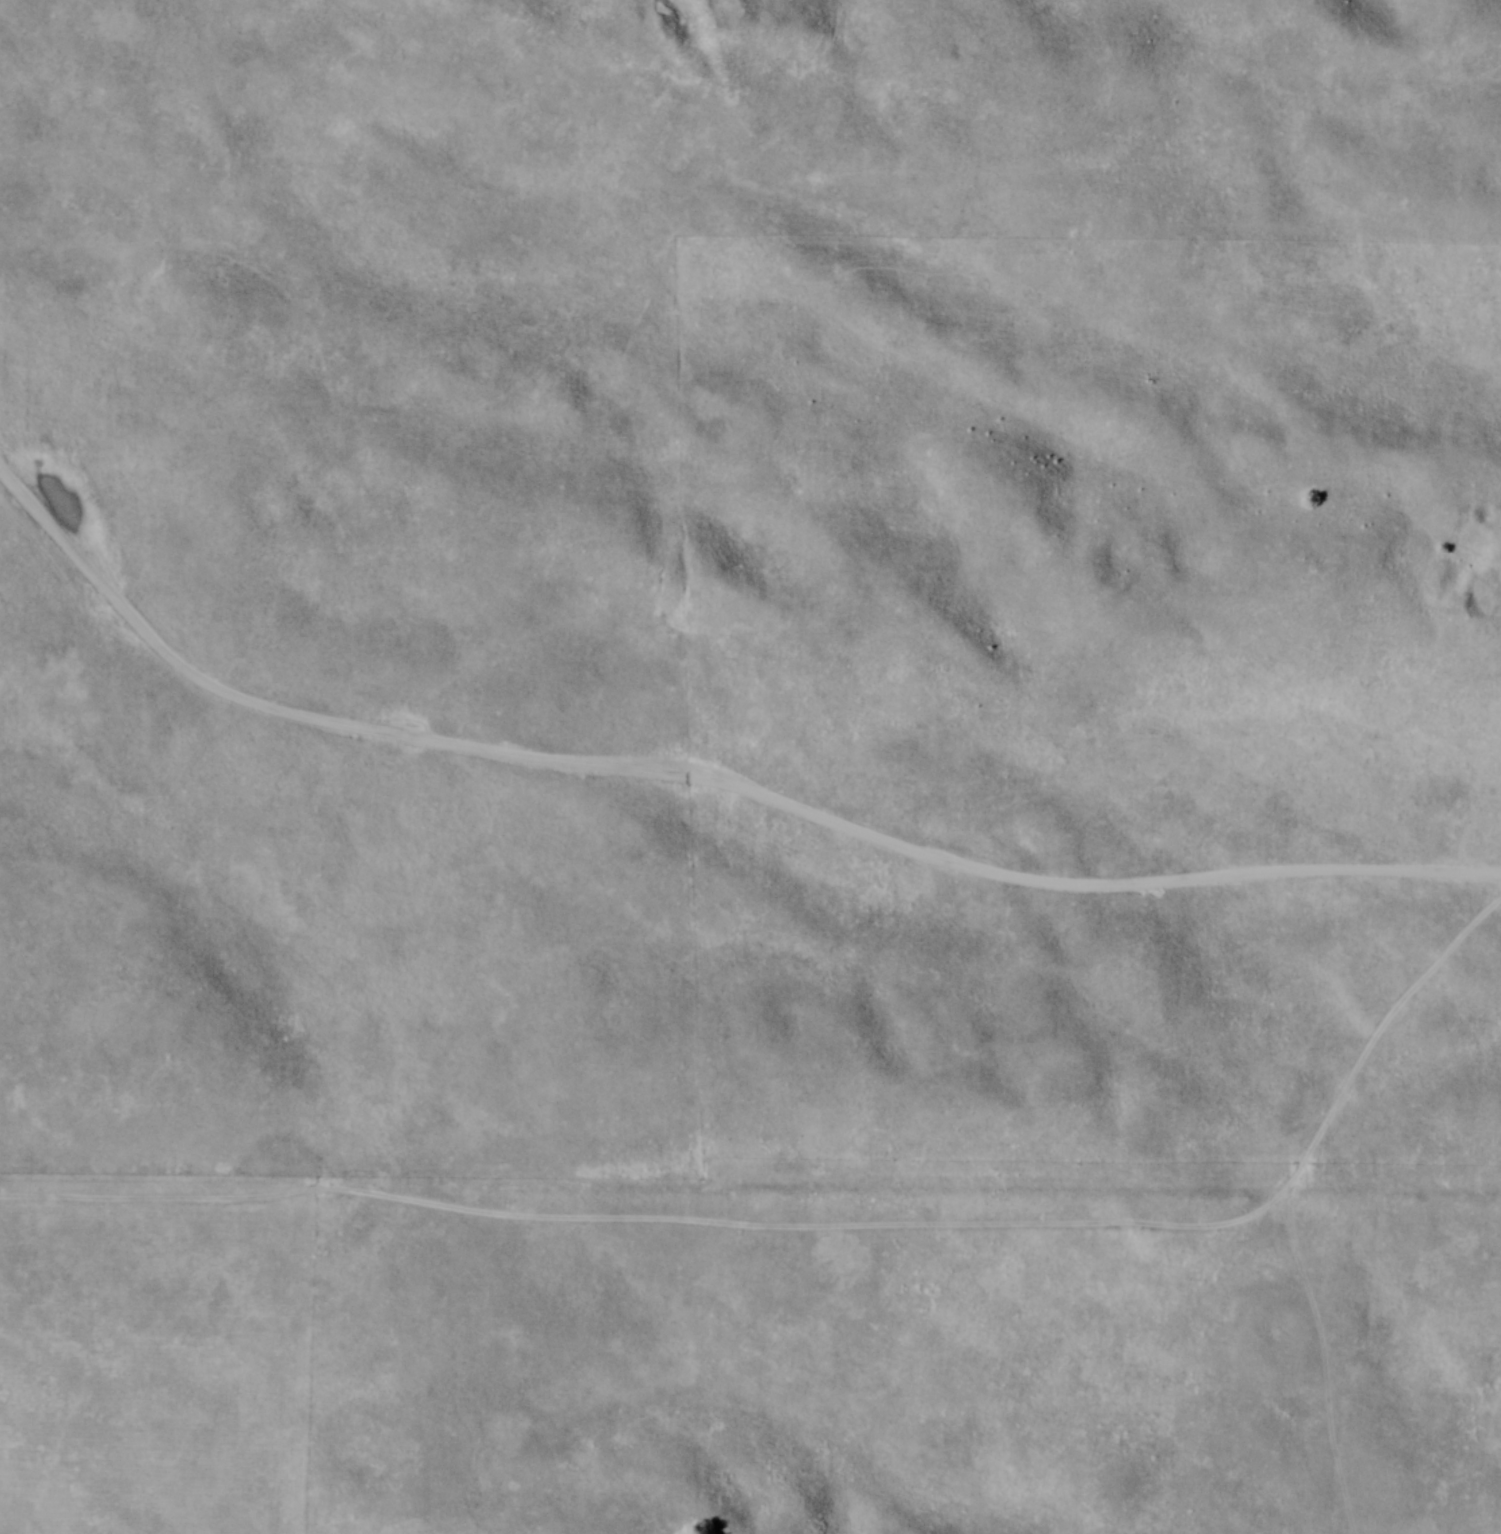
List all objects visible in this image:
road: (705, 780)

